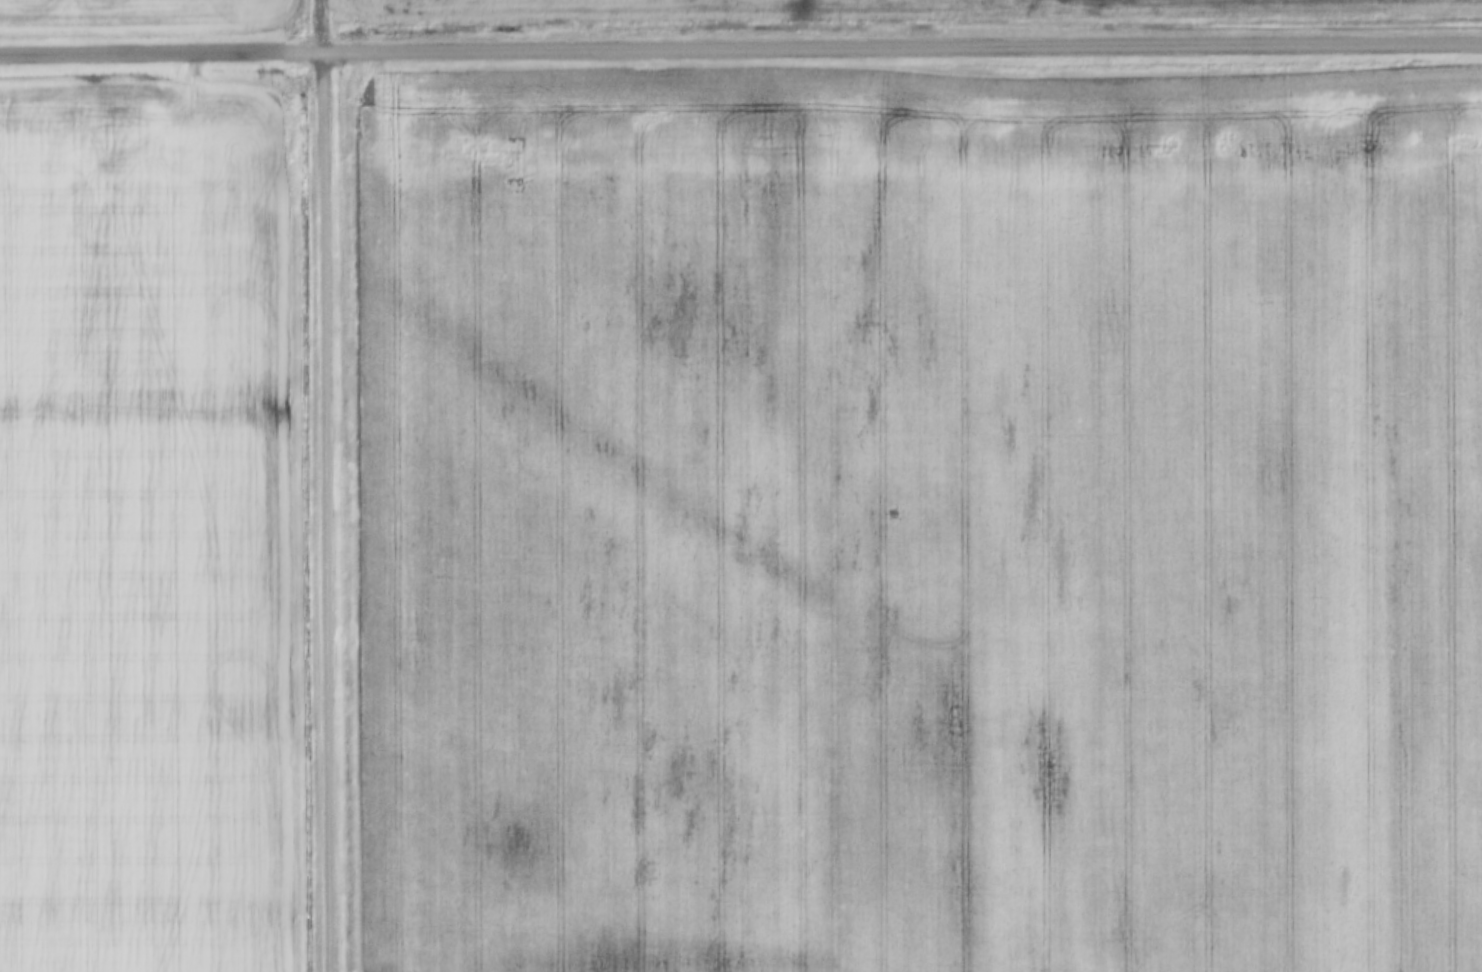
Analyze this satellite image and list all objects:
road: (740, 47)
road: (330, 486)

